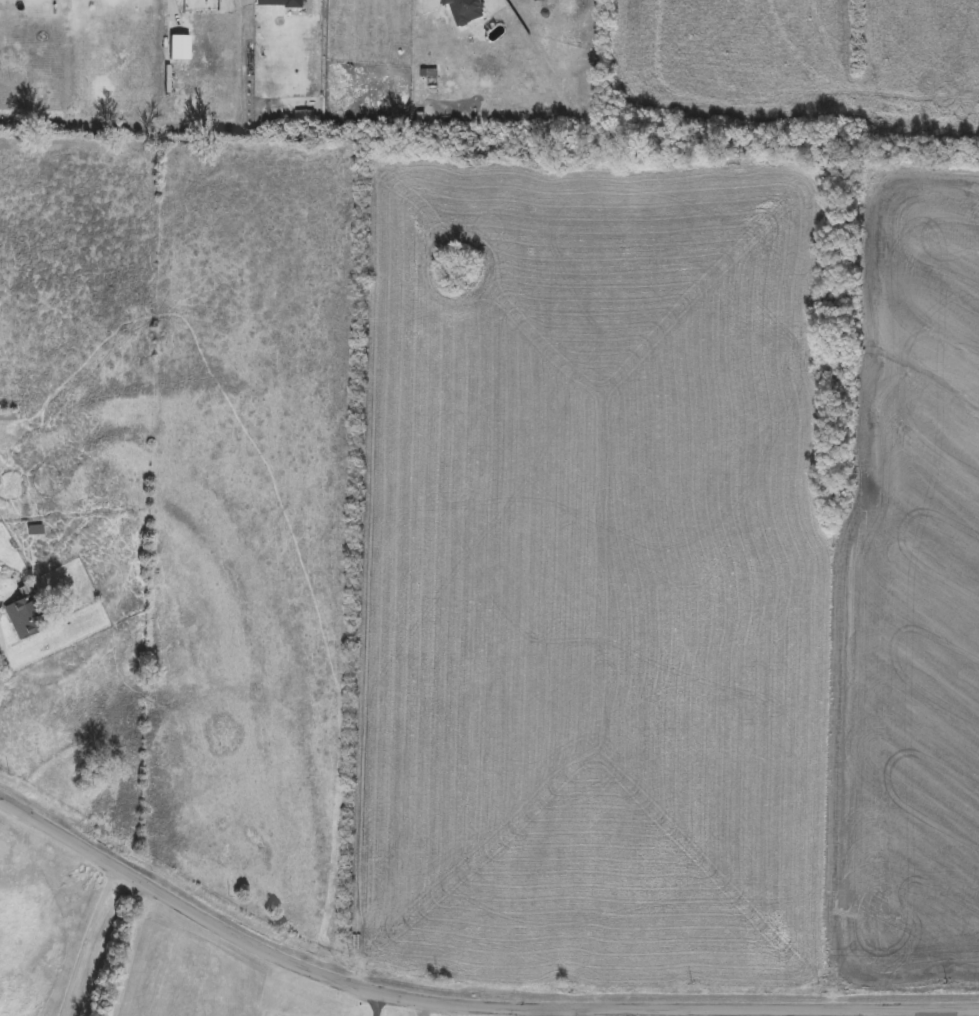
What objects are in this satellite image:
building: (278, 3)
building: (6, 417)
building: (24, 616)
road: (2, 665)
road: (83, 941)
road: (126, 951)
road: (464, 1002)
road: (377, 1005)
road: (568, 1013)

